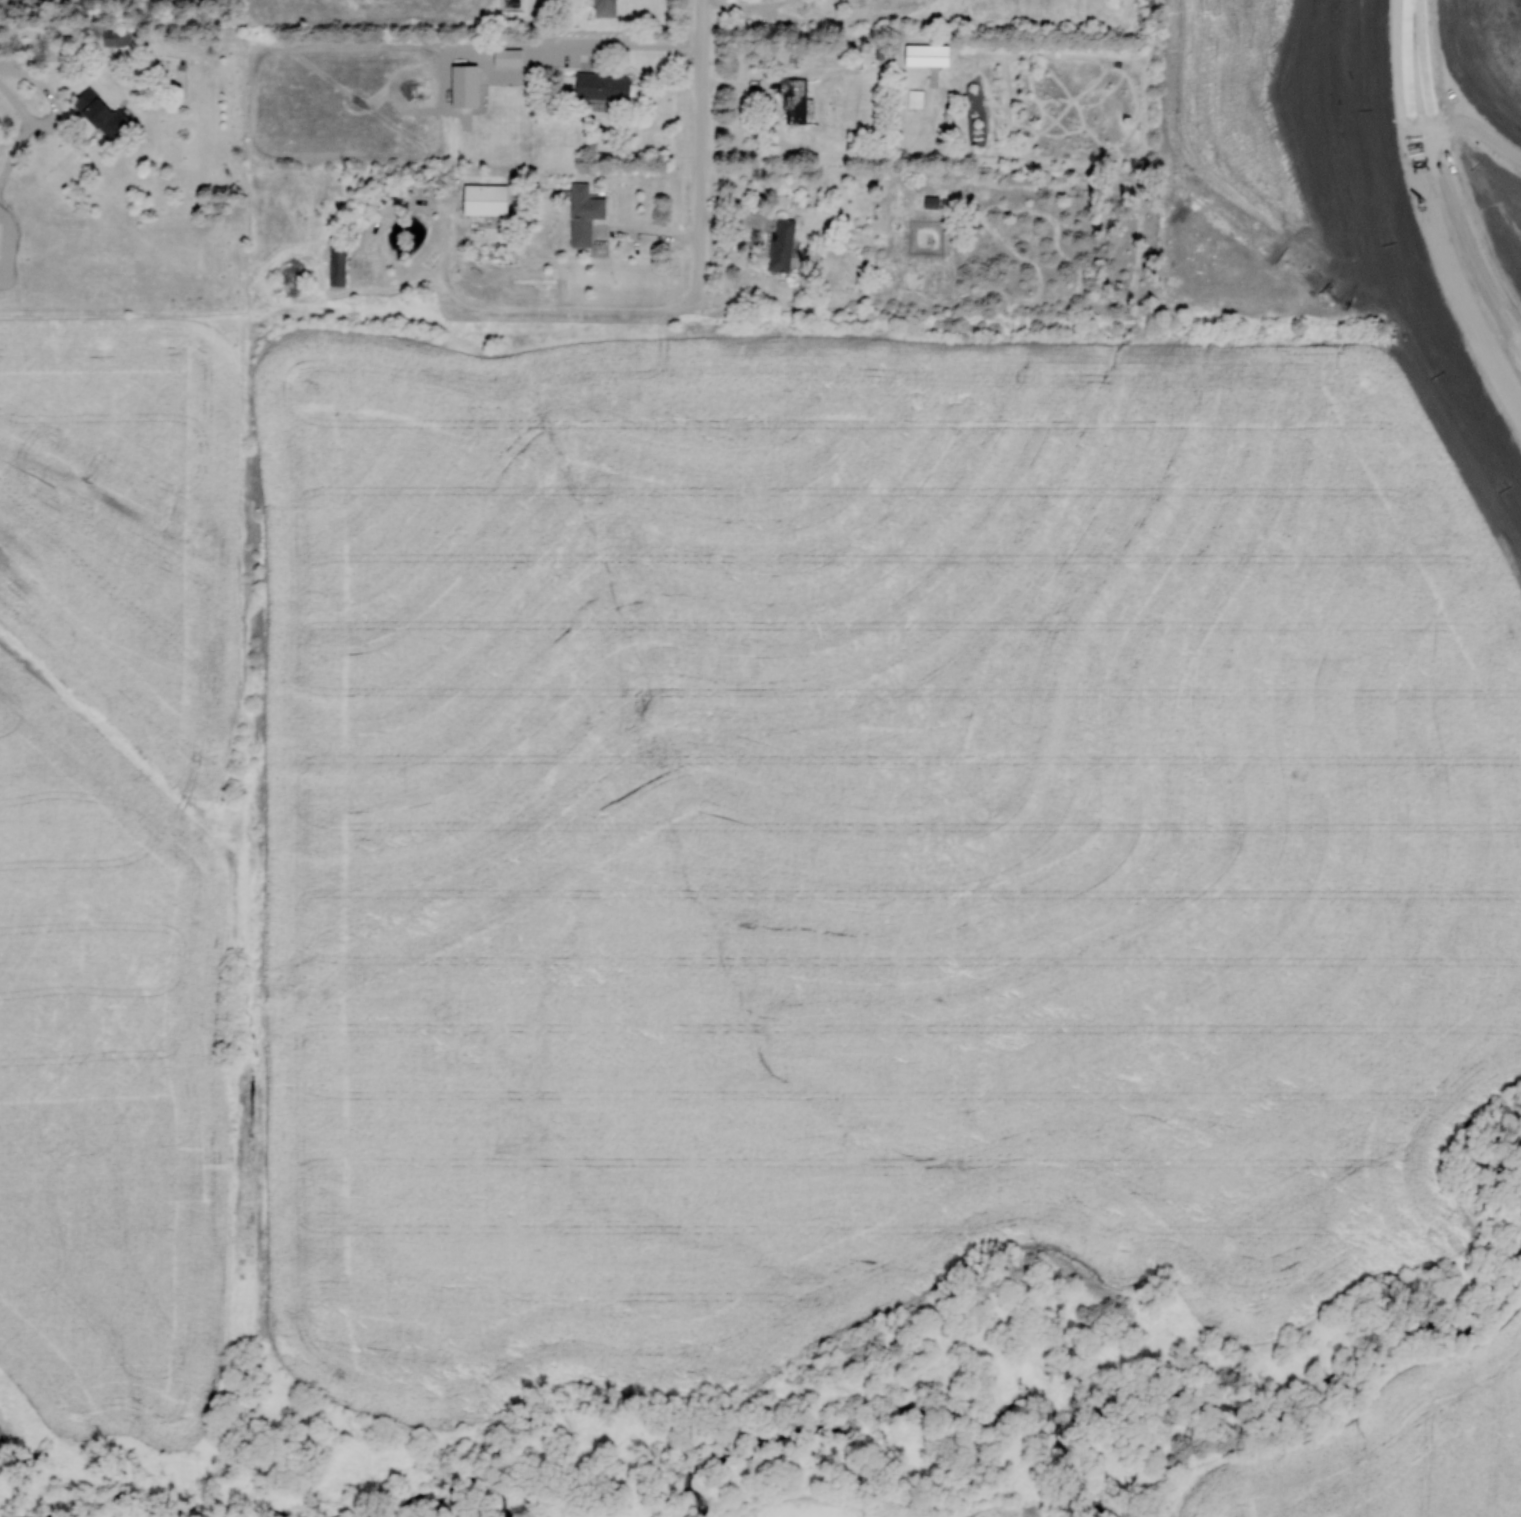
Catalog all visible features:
building: (606, 8)
road: (1410, 30)
building: (117, 36)
building: (928, 54)
building: (508, 56)
building: (603, 85)
building: (795, 99)
building: (102, 112)
road: (701, 172)
building: (487, 198)
building: (932, 201)
building: (585, 213)
building: (782, 243)
road: (1437, 244)
building: (337, 265)
crop: (861, 844)
crop: (1394, 1450)

